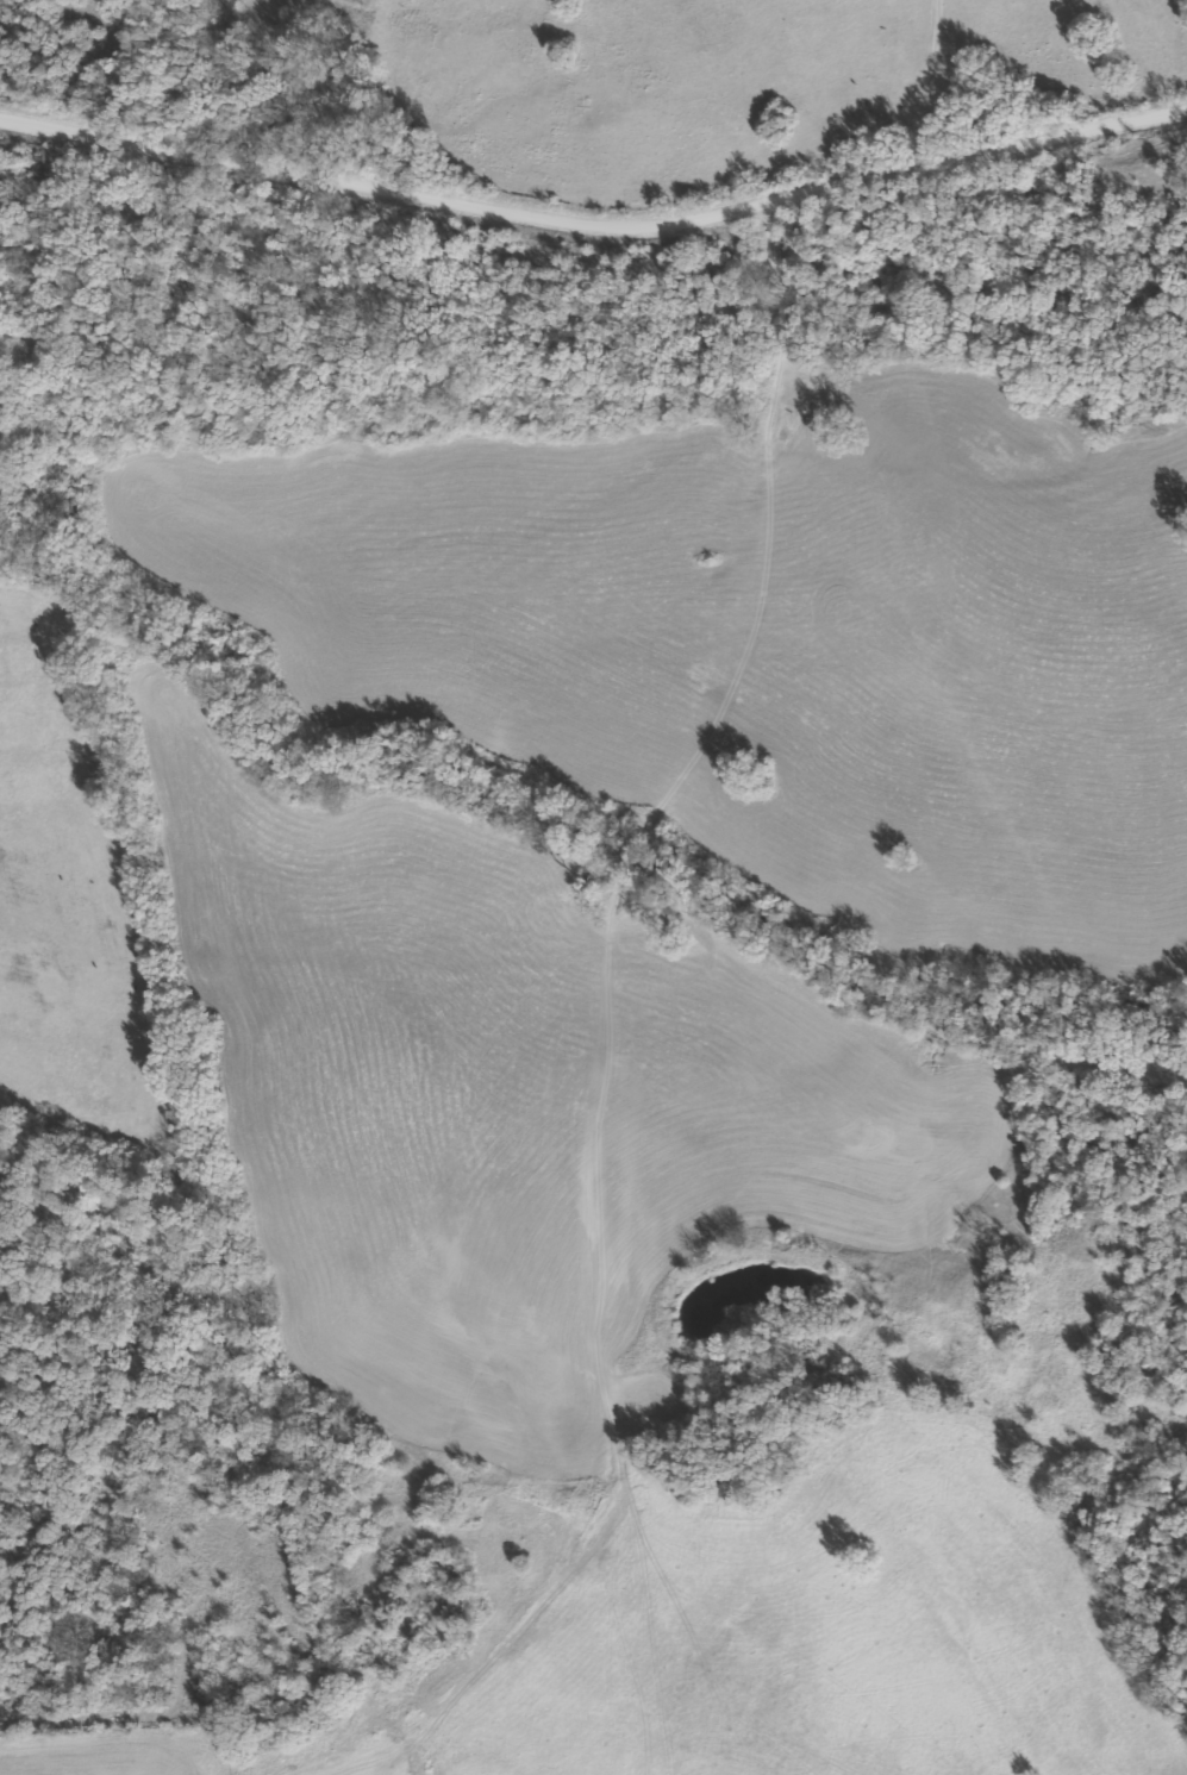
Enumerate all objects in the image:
road: (395, 14)
road: (1069, 114)
railway: (592, 318)

